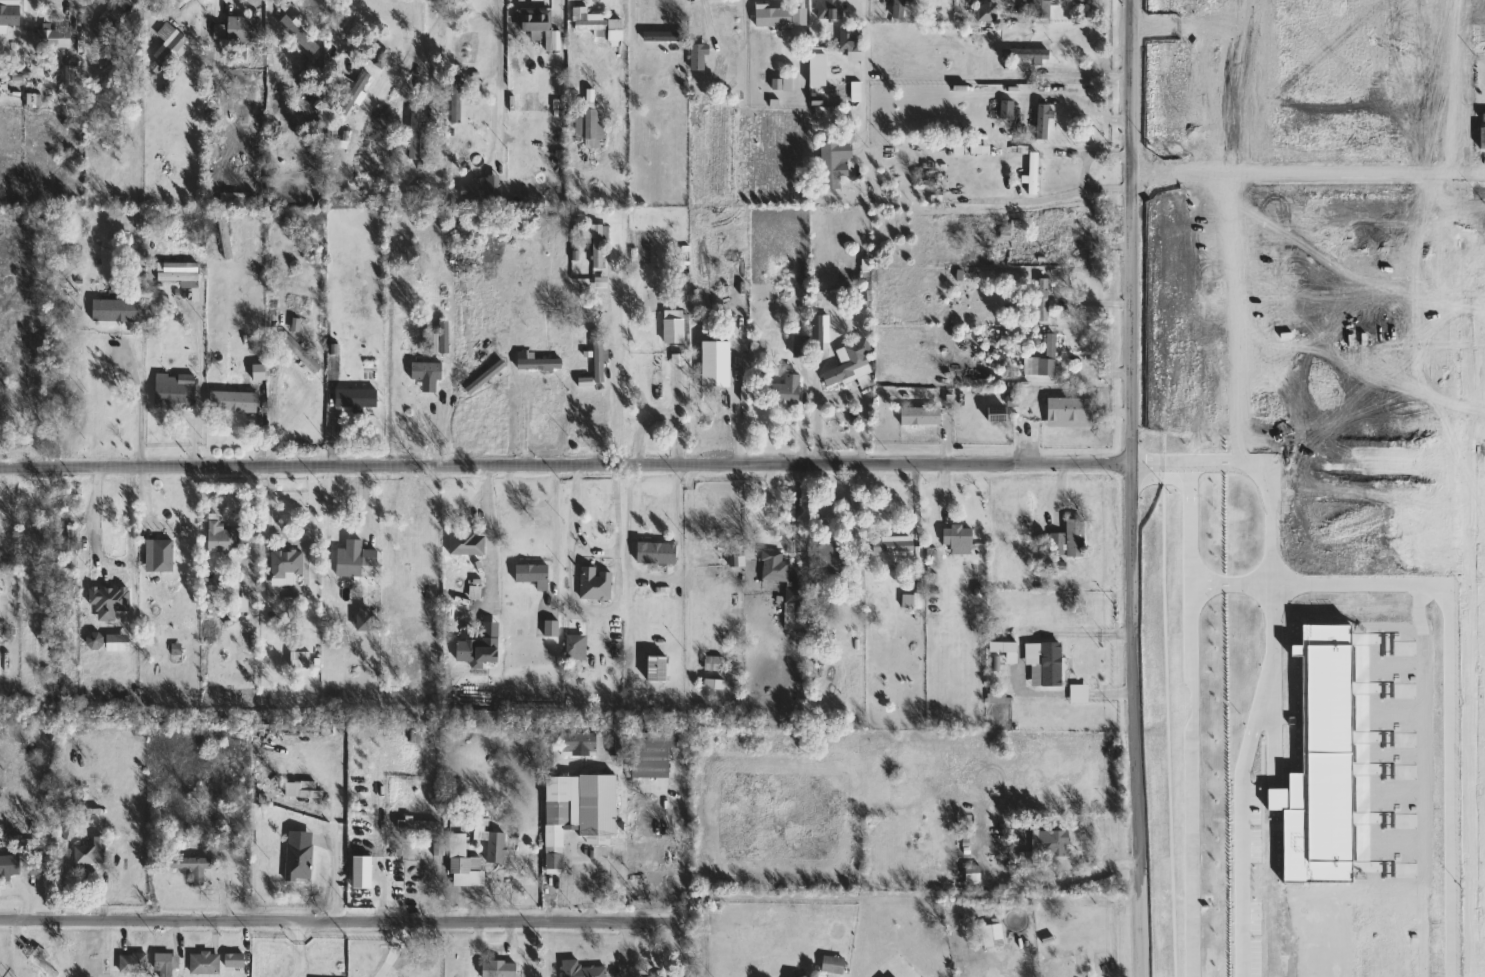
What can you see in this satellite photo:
road: (58, 8)
building: (900, 9)
building: (1043, 9)
building: (833, 10)
building: (9, 14)
road: (640, 15)
building: (783, 17)
road: (224, 19)
building: (116, 20)
building: (536, 20)
building: (590, 20)
road: (33, 27)
road: (347, 27)
building: (245, 30)
building: (300, 35)
building: (852, 37)
building: (56, 38)
road: (420, 50)
building: (175, 53)
building: (1027, 54)
road: (622, 56)
building: (819, 70)
road: (869, 82)
road: (495, 83)
building: (361, 85)
building: (458, 99)
road: (1080, 102)
building: (1009, 109)
building: (1045, 121)
building: (592, 123)
building: (837, 164)
road: (1133, 170)
road: (1153, 170)
road: (1327, 171)
building: (1036, 173)
building: (931, 177)
building: (485, 191)
building: (234, 198)
road: (1034, 205)
building: (1056, 233)
building: (227, 237)
building: (601, 242)
building: (182, 273)
building: (712, 285)
building: (716, 286)
building: (1045, 300)
building: (117, 310)
building: (679, 327)
building: (822, 332)
building: (295, 336)
building: (442, 338)
building: (802, 345)
building: (713, 355)
building: (1044, 360)
building: (601, 361)
building: (849, 363)
building: (541, 364)
building: (427, 371)
road: (621, 376)
building: (487, 377)
building: (173, 388)
road: (200, 389)
building: (788, 390)
building: (103, 399)
building: (357, 399)
building: (234, 401)
road: (277, 404)
road: (141, 405)
building: (1069, 410)
road: (817, 415)
building: (921, 416)
road: (743, 418)
road: (442, 423)
road: (264, 425)
road: (531, 426)
road: (805, 427)
road: (866, 430)
road: (564, 466)
road: (1128, 488)
road: (484, 509)
road: (856, 512)
road: (800, 513)
road: (535, 514)
road: (919, 516)
road: (688, 525)
road: (252, 527)
building: (169, 531)
building: (224, 536)
building: (1077, 537)
road: (397, 541)
building: (469, 543)
building: (1059, 544)
building: (894, 545)
building: (74, 546)
road: (591, 550)
building: (107, 552)
building: (658, 553)
building: (358, 560)
building: (288, 567)
road: (105, 572)
building: (534, 575)
building: (784, 575)
road: (655, 578)
building: (597, 584)
building: (110, 601)
building: (914, 601)
road: (593, 612)
building: (795, 616)
building: (554, 628)
building: (476, 643)
building: (578, 646)
building: (302, 659)
building: (715, 663)
building: (1, 664)
building: (1050, 665)
building: (659, 668)
building: (716, 683)
building: (1080, 693)
building: (653, 753)
building: (1318, 764)
building: (303, 798)
building: (579, 804)
building: (419, 825)
road: (340, 835)
building: (499, 848)
building: (662, 848)
road: (685, 851)
building: (86, 856)
building: (555, 860)
building: (594, 863)
building: (466, 864)
building: (194, 867)
building: (974, 873)
road: (564, 876)
road: (625, 889)
road: (437, 891)
road: (340, 925)
building: (996, 936)
road: (299, 950)
road: (630, 950)
building: (43, 961)
building: (236, 961)
building: (424, 962)
building: (135, 963)
building: (206, 964)
building: (834, 964)
building: (501, 969)
building: (582, 970)
building: (810, 976)

